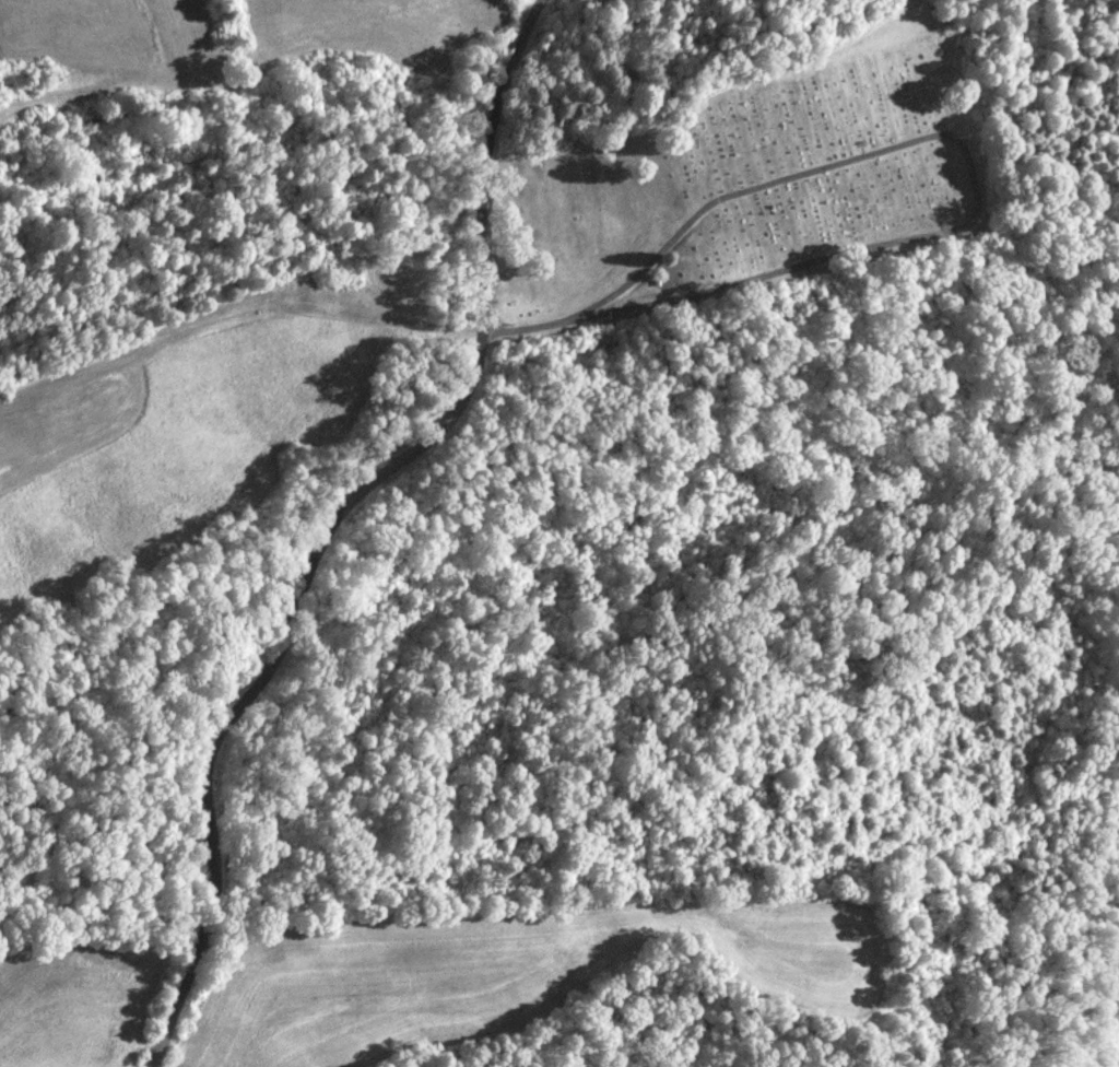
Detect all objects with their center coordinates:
road: (322, 530)

